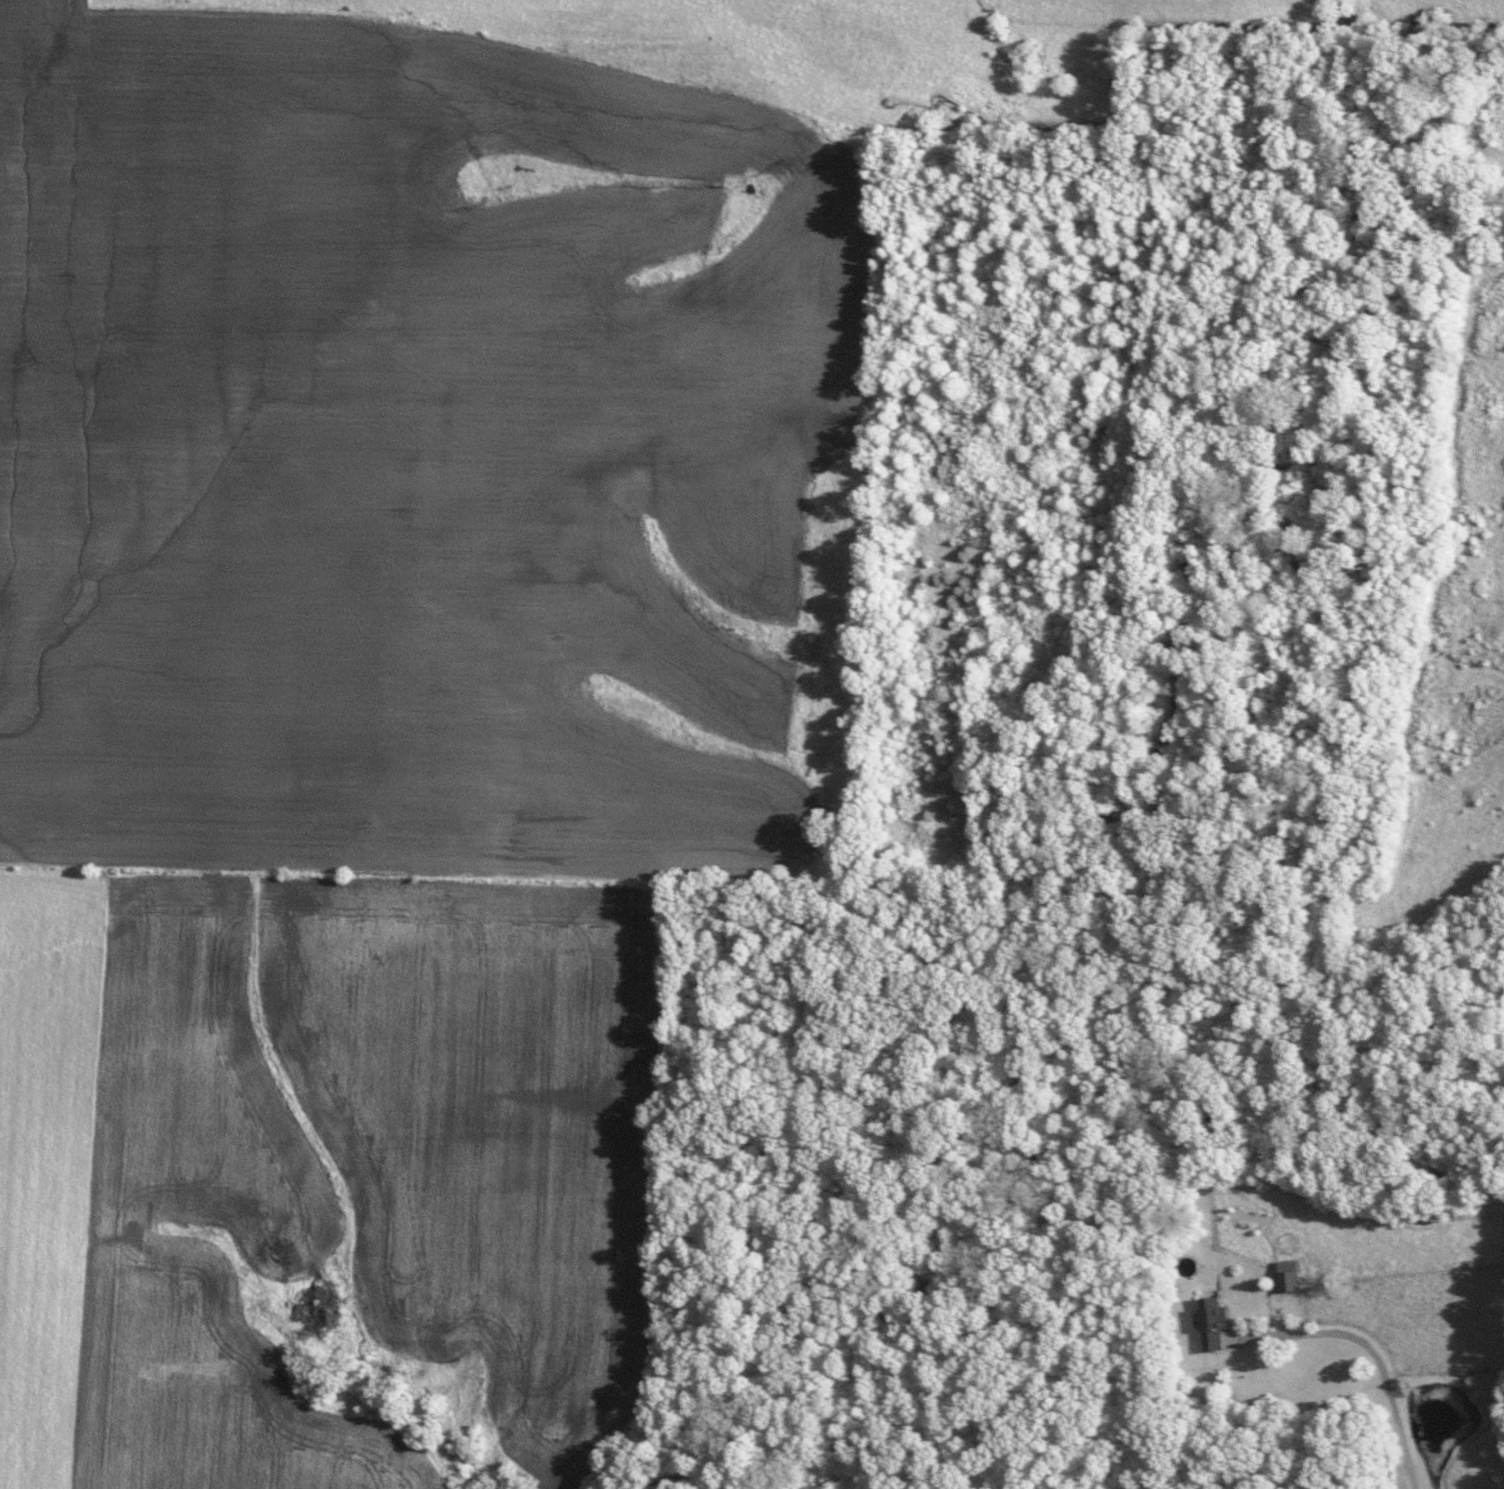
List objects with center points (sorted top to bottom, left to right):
building: (1284, 1276)
building: (1208, 1323)
road: (1370, 1349)

